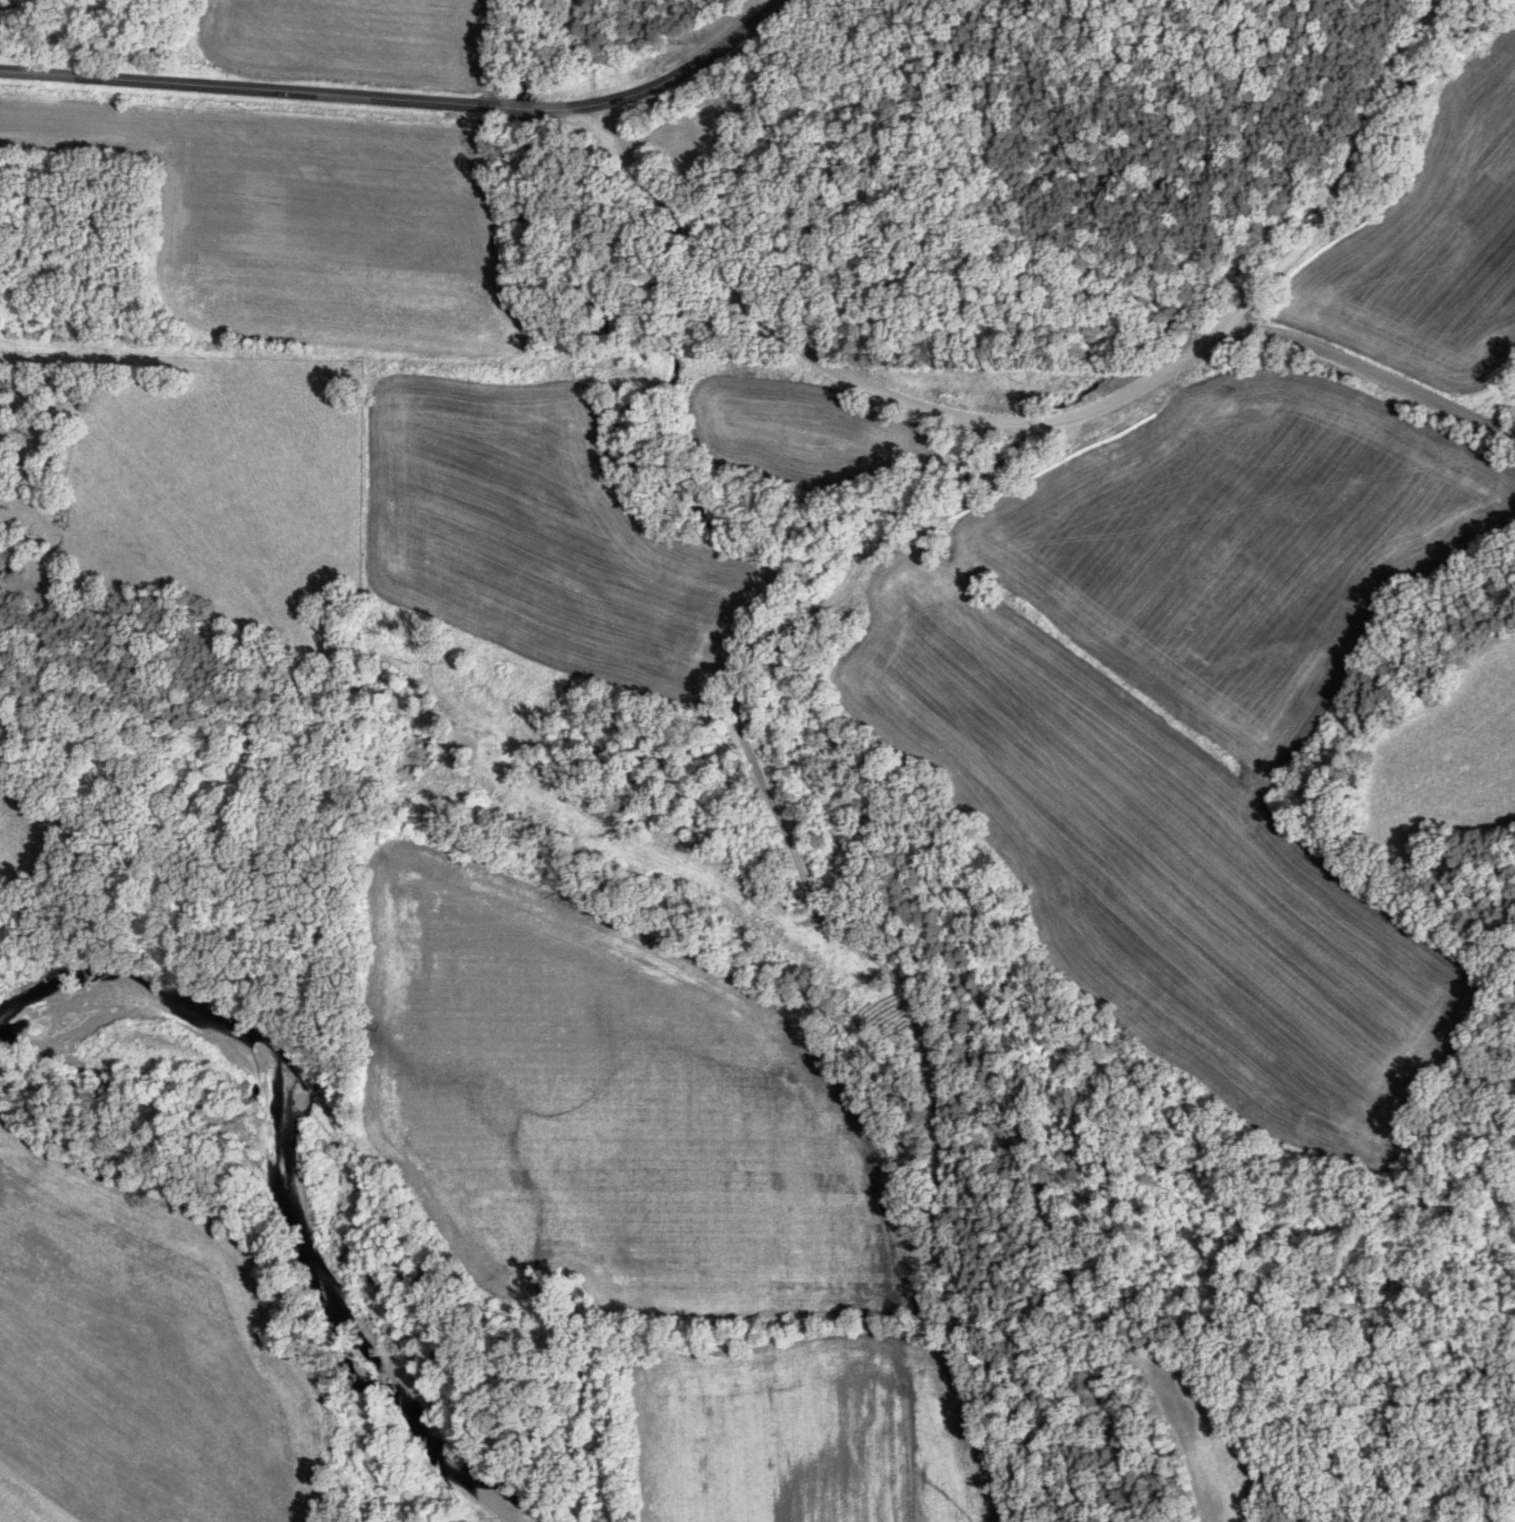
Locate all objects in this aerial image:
road: (409, 102)
road: (1294, 257)
road: (748, 303)
road: (1373, 372)
road: (1008, 427)
road: (825, 922)

